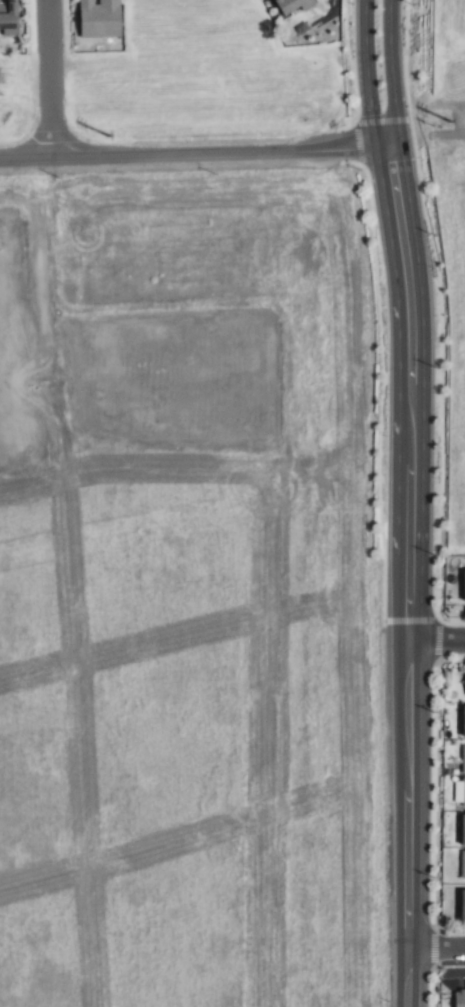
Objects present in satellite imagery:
building: (289, 5)
building: (97, 18)
building: (7, 19)
road: (391, 74)
road: (367, 76)
road: (50, 80)
power tower: (424, 124)
power tower: (99, 137)
road: (194, 156)
road: (409, 576)
building: (462, 585)
road: (437, 642)
building: (464, 685)
building: (462, 721)
building: (462, 759)
building: (462, 792)
building: (461, 830)
building: (461, 865)
building: (461, 906)
road: (436, 949)
building: (458, 999)

